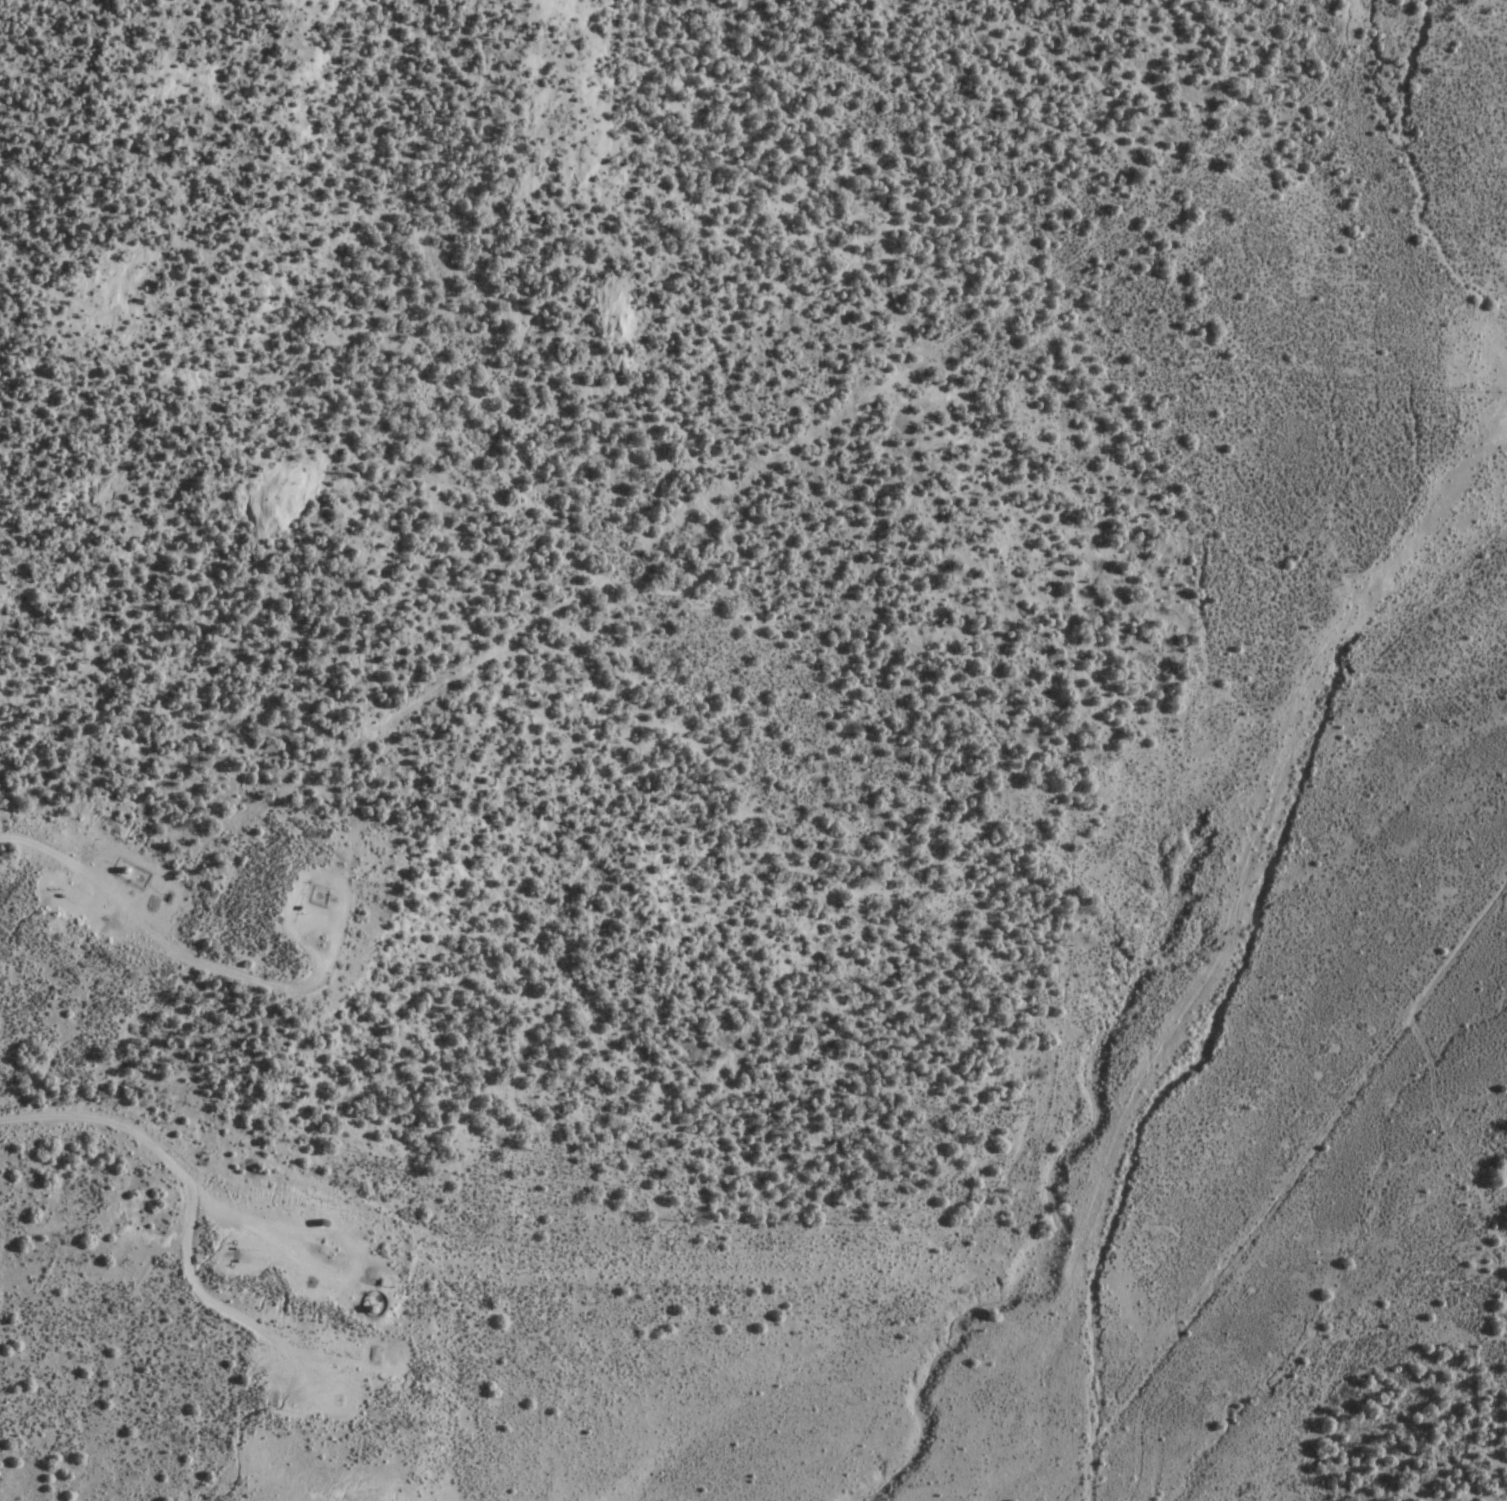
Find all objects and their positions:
road: (1272, 1159)

